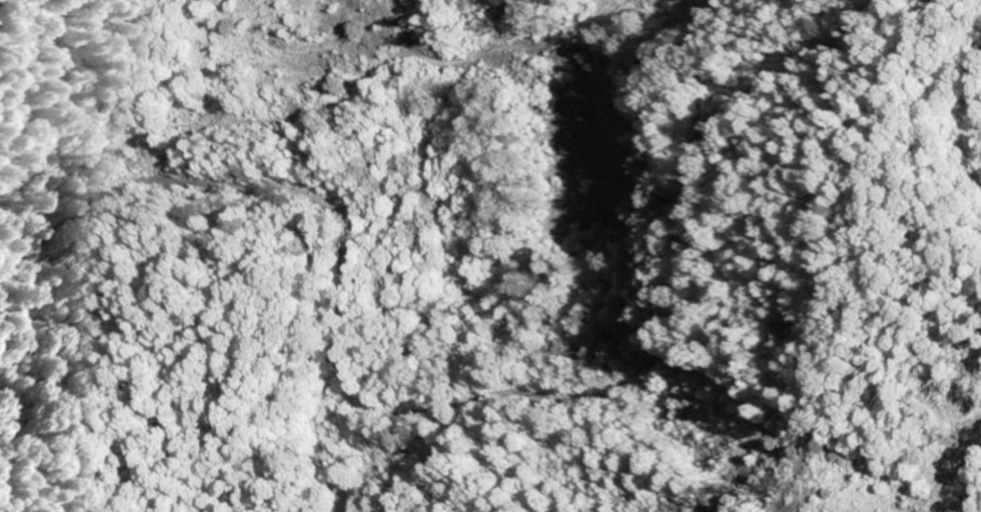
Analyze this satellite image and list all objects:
power tower: (797, 490)

